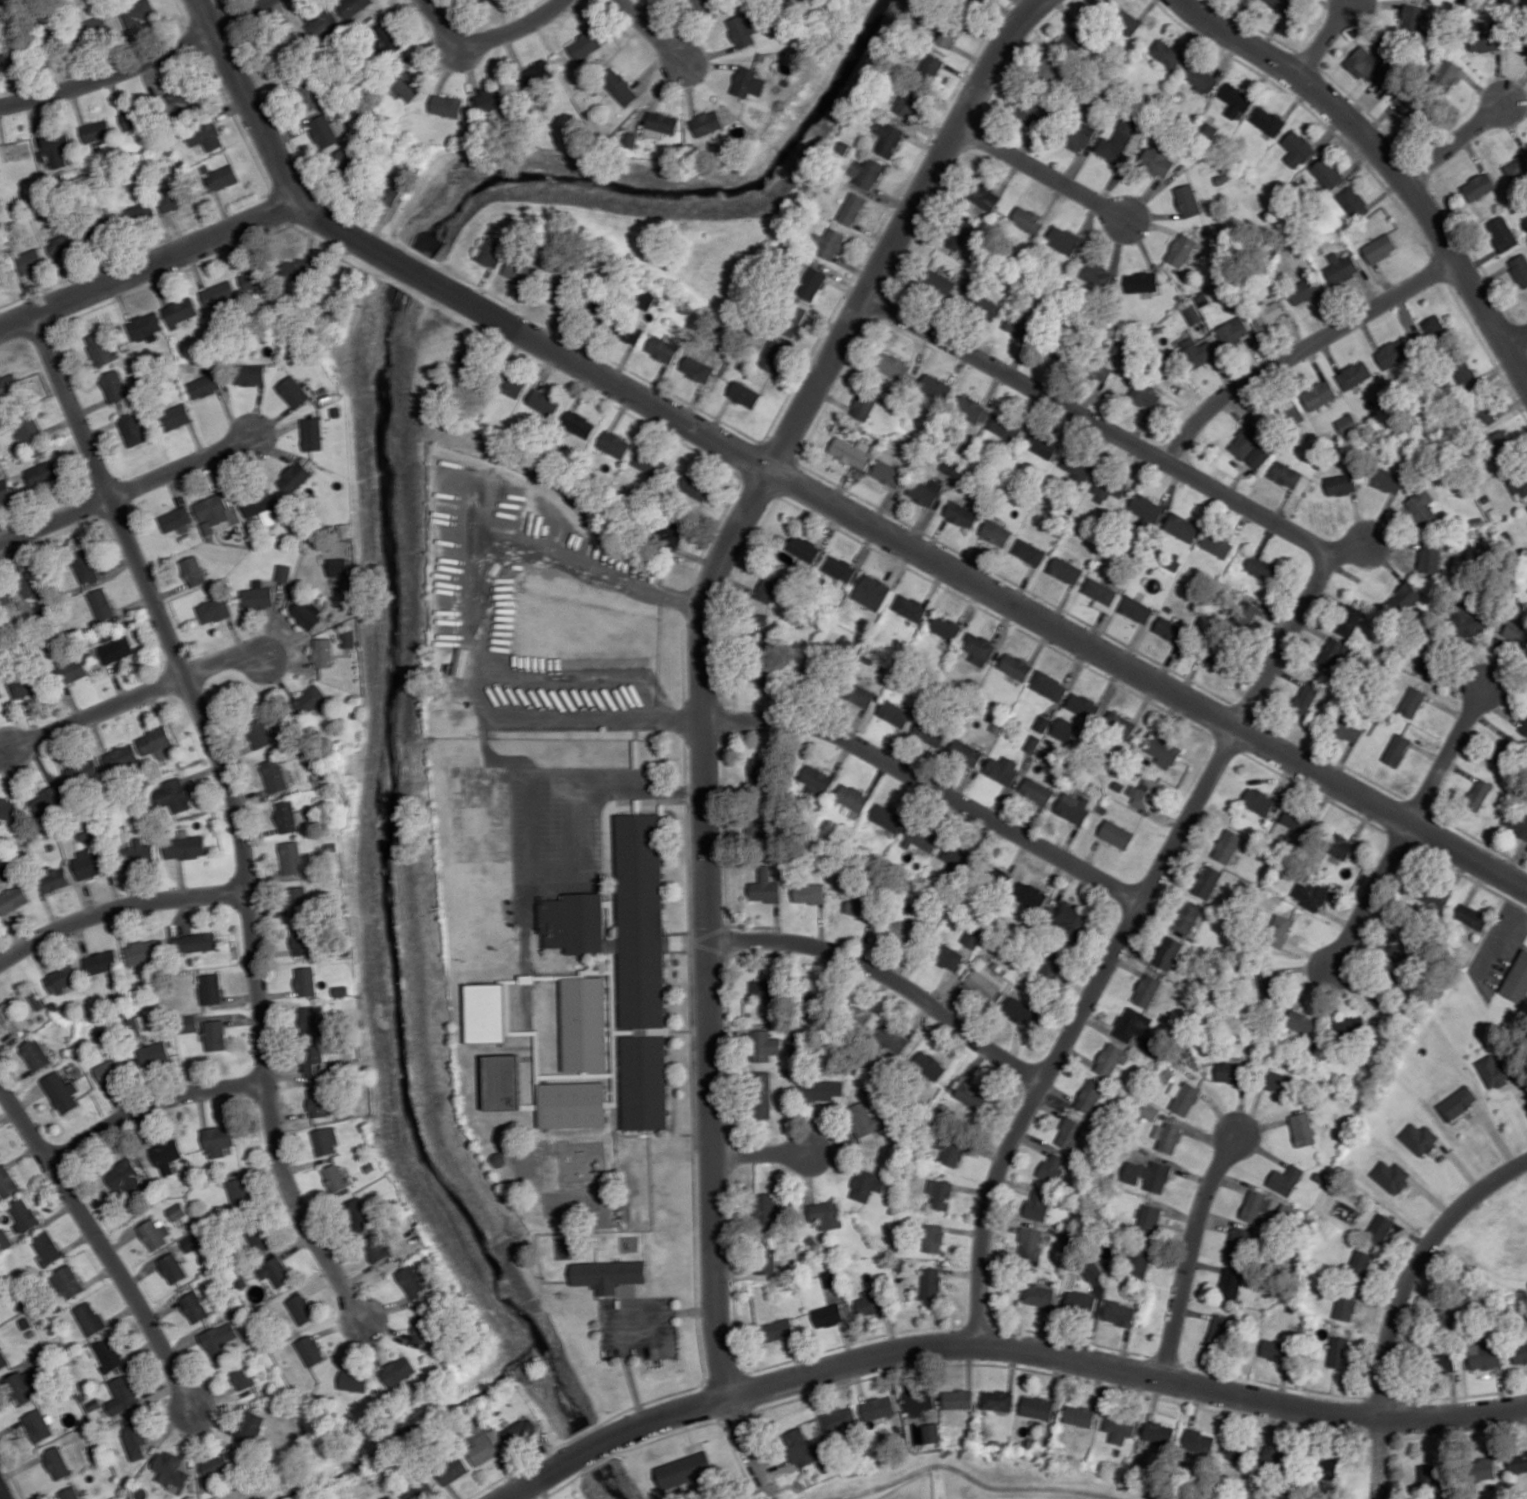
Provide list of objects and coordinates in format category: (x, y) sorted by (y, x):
building: (972, 1)
building: (700, 4)
building: (1283, 5)
building: (353, 6)
building: (138, 11)
building: (1412, 18)
building: (1127, 21)
building: (323, 24)
building: (745, 27)
building: (99, 28)
road: (650, 30)
building: (945, 34)
building: (387, 37)
building: (1485, 37)
road: (489, 40)
building: (1076, 40)
road: (1325, 40)
building: (585, 44)
building: (1524, 45)
building: (1166, 54)
building: (10, 55)
building: (1371, 63)
road: (140, 64)
building: (1050, 66)
building: (931, 67)
building: (1444, 73)
building: (536, 75)
building: (748, 82)
building: (620, 86)
building: (407, 87)
building: (312, 94)
building: (491, 99)
building: (1235, 99)
building: (179, 101)
building: (908, 101)
building: (447, 105)
building: (1406, 106)
road: (255, 113)
building: (1030, 113)
building: (1267, 120)
building: (708, 122)
building: (661, 124)
building: (1208, 129)
building: (96, 130)
building: (323, 131)
building: (1078, 135)
building: (206, 136)
building: (888, 138)
building: (631, 139)
building: (1121, 140)
road: (1456, 141)
building: (56, 148)
building: (1297, 148)
building: (1158, 159)
road: (1388, 160)
building: (1517, 168)
building: (867, 172)
road: (1042, 172)
building: (1327, 173)
building: (1479, 186)
building: (392, 193)
building: (170, 195)
building: (984, 195)
building: (1188, 200)
building: (1354, 202)
building: (852, 208)
building: (138, 214)
building: (1027, 219)
building: (960, 233)
building: (1502, 233)
building: (1063, 239)
building: (829, 243)
building: (63, 245)
building: (1380, 247)
building: (1181, 249)
building: (491, 252)
building: (29, 261)
road: (148, 264)
road: (402, 265)
building: (1341, 267)
building: (297, 268)
building: (1520, 269)
building: (520, 271)
building: (1096, 273)
building: (2, 277)
building: (253, 279)
building: (939, 281)
building: (1141, 281)
building: (812, 283)
building: (1303, 291)
building: (219, 294)
building: (558, 295)
building: (645, 299)
building: (982, 306)
building: (180, 311)
building: (1268, 312)
building: (1193, 314)
building: (793, 317)
building: (145, 326)
building: (1019, 326)
building: (1434, 328)
building: (627, 330)
building: (1233, 331)
road: (1516, 338)
building: (101, 348)
building: (662, 349)
road: (1302, 350)
building: (1197, 352)
building: (1392, 353)
building: (773, 355)
building: (469, 359)
building: (893, 365)
building: (697, 368)
building: (1101, 368)
building: (249, 374)
building: (1354, 374)
building: (1465, 375)
building: (114, 385)
building: (205, 385)
building: (513, 385)
building: (9, 386)
building: (935, 386)
building: (294, 391)
building: (744, 393)
building: (1144, 394)
building: (1319, 395)
building: (544, 402)
building: (864, 405)
building: (972, 409)
building: (1484, 414)
building: (176, 416)
building: (579, 423)
building: (1348, 423)
road: (1098, 424)
building: (29, 427)
building: (1005, 427)
building: (132, 428)
building: (313, 433)
building: (1246, 441)
building: (1499, 442)
building: (614, 443)
building: (1042, 444)
building: (852, 451)
building: (1260, 455)
building: (650, 462)
road: (181, 466)
building: (1078, 467)
building: (887, 473)
building: (42, 474)
building: (1286, 474)
building: (295, 477)
building: (1387, 479)
building: (1341, 484)
building: (696, 485)
building: (1518, 485)
building: (1108, 487)
building: (5, 491)
building: (925, 491)
building: (259, 505)
building: (1423, 507)
building: (1146, 509)
building: (212, 511)
building: (961, 513)
road: (55, 520)
building: (177, 520)
building: (1182, 526)
building: (996, 532)
building: (671, 533)
building: (1217, 544)
building: (803, 547)
building: (1029, 551)
building: (1430, 557)
building: (85, 566)
building: (839, 568)
building: (1262, 568)
building: (193, 570)
building: (1065, 570)
building: (284, 572)
building: (769, 584)
building: (26, 586)
building: (874, 593)
building: (258, 595)
building: (1103, 595)
building: (1403, 599)
road: (1005, 600)
building: (101, 604)
river: (394, 605)
building: (910, 607)
building: (1136, 608)
building: (214, 609)
building: (307, 611)
building: (1245, 614)
building: (1350, 620)
building: (1468, 621)
building: (758, 622)
building: (945, 627)
building: (1516, 631)
building: (1172, 632)
building: (349, 638)
road: (477, 639)
building: (979, 648)
building: (116, 649)
building: (1332, 651)
building: (324, 652)
road: (225, 659)
building: (463, 661)
building: (1016, 666)
building: (1430, 667)
building: (73, 670)
building: (23, 685)
building: (1048, 685)
building: (1, 694)
road: (704, 694)
building: (859, 694)
building: (1306, 699)
building: (310, 700)
building: (1412, 701)
building: (1083, 705)
road: (98, 713)
building: (895, 713)
building: (1042, 723)
building: (1120, 724)
building: (1524, 726)
building: (1348, 728)
building: (1064, 729)
building: (258, 731)
building: (930, 731)
building: (156, 742)
building: (1033, 743)
building: (1397, 749)
building: (1506, 750)
building: (1163, 751)
building: (966, 752)
road: (1448, 755)
building: (120, 756)
building: (1003, 768)
building: (759, 772)
building: (83, 773)
building: (276, 776)
building: (816, 780)
road: (930, 785)
building: (1037, 790)
building: (1145, 792)
building: (1478, 794)
building: (173, 795)
building: (852, 797)
building: (47, 800)
building: (1258, 800)
building: (1073, 807)
building: (7, 808)
road: (237, 808)
building: (286, 816)
building: (887, 817)
building: (1298, 821)
building: (1516, 821)
park: (1523, 828)
building: (1116, 834)
building: (922, 837)
building: (1339, 844)
building: (1228, 845)
building: (185, 847)
road: (571, 852)
building: (138, 853)
building: (958, 854)
building: (291, 857)
building: (89, 863)
building: (995, 875)
building: (54, 879)
building: (1208, 881)
building: (765, 886)
building: (809, 892)
building: (1312, 894)
building: (1029, 895)
building: (1432, 895)
road: (1371, 896)
building: (13, 899)
building: (298, 900)
building: (859, 905)
road: (118, 907)
building: (1187, 916)
building: (1472, 916)
building: (1068, 920)
building: (576, 924)
building: (904, 927)
building: (1279, 930)
building: (972, 937)
road: (1122, 939)
building: (302, 940)
building: (194, 942)
building: (1399, 943)
building: (143, 952)
building: (1168, 952)
building: (948, 956)
building: (100, 962)
building: (1051, 964)
building: (642, 970)
road: (889, 977)
building: (61, 979)
building: (1517, 979)
building: (306, 981)
building: (985, 982)
building: (1265, 984)
building: (211, 988)
building: (764, 988)
building: (341, 990)
building: (1147, 990)
building: (1021, 1011)
building: (487, 1012)
building: (857, 1014)
building: (13, 1016)
building: (311, 1018)
building: (1301, 1022)
building: (190, 1023)
building: (584, 1023)
building: (1132, 1024)
building: (1350, 1026)
building: (215, 1034)
building: (892, 1037)
building: (765, 1045)
building: (153, 1053)
building: (35, 1054)
building: (1111, 1058)
building: (313, 1059)
building: (929, 1064)
building: (112, 1069)
building: (1493, 1070)
building: (1229, 1072)
building: (502, 1081)
building: (1276, 1081)
building: (821, 1089)
building: (61, 1091)
building: (762, 1094)
building: (971, 1095)
building: (1090, 1095)
building: (1184, 1097)
building: (320, 1102)
building: (1457, 1102)
road: (152, 1104)
building: (572, 1104)
building: (1150, 1111)
building: (862, 1121)
building: (1302, 1129)
building: (1071, 1133)
building: (1168, 1136)
building: (1419, 1138)
building: (217, 1139)
building: (326, 1140)
building: (950, 1149)
road: (761, 1154)
building: (166, 1155)
building: (1052, 1166)
building: (1148, 1174)
building: (1391, 1175)
building: (336, 1176)
building: (1285, 1179)
building: (7, 1182)
building: (867, 1184)
building: (239, 1191)
building: (940, 1193)
building: (1255, 1205)
building: (1037, 1206)
building: (177, 1211)
building: (1287, 1212)
building: (23, 1214)
building: (826, 1214)
building: (359, 1216)
building: (1149, 1220)
building: (1380, 1228)
building: (155, 1233)
building: (258, 1237)
building: (933, 1237)
building: (5, 1239)
building: (1030, 1242)
building: (1239, 1244)
road: (102, 1245)
building: (46, 1247)
building: (376, 1248)
road: (1191, 1253)
building: (767, 1258)
building: (1139, 1261)
building: (1360, 1264)
building: (172, 1267)
building: (1091, 1269)
building: (275, 1271)
building: (608, 1274)
building: (831, 1277)
building: (68, 1281)
building: (412, 1281)
building: (1231, 1282)
building: (931, 1283)
building: (1038, 1294)
building: (869, 1301)
building: (1080, 1303)
road: (1399, 1304)
building: (194, 1306)
building: (1345, 1306)
building: (301, 1308)
building: (1120, 1313)
building: (828, 1315)
building: (90, 1318)
road: (622, 1322)
building: (1220, 1325)
building: (424, 1328)
building: (777, 1329)
building: (220, 1339)
building: (310, 1350)
building: (1278, 1350)
building: (1339, 1352)
building: (1520, 1352)
building: (109, 1353)
building: (1485, 1356)
road: (1065, 1357)
building: (3, 1359)
building: (1442, 1362)
building: (397, 1370)
building: (242, 1376)
building: (353, 1380)
building: (20, 1387)
building: (123, 1394)
building: (957, 1398)
building: (997, 1400)
building: (918, 1402)
building: (1037, 1406)
building: (878, 1407)
building: (1079, 1415)
building: (840, 1420)
building: (38, 1425)
building: (1119, 1426)
building: (250, 1427)
river: (415, 1429)
building: (520, 1431)
building: (1159, 1431)
building: (931, 1432)
building: (134, 1437)
building: (1199, 1441)
building: (486, 1445)
building: (801, 1447)
road: (589, 1450)
building: (1239, 1450)
building: (1274, 1457)
building: (1517, 1461)
building: (57, 1462)
building: (216, 1465)
building: (1327, 1466)
building: (1483, 1468)
building: (684, 1469)
building: (452, 1470)
building: (170, 1471)
road: (511, 1471)
building: (1431, 1473)
road: (534, 1480)
park: (919, 1489)
building: (418, 1490)
building: (71, 1493)
building: (387, 1497)

